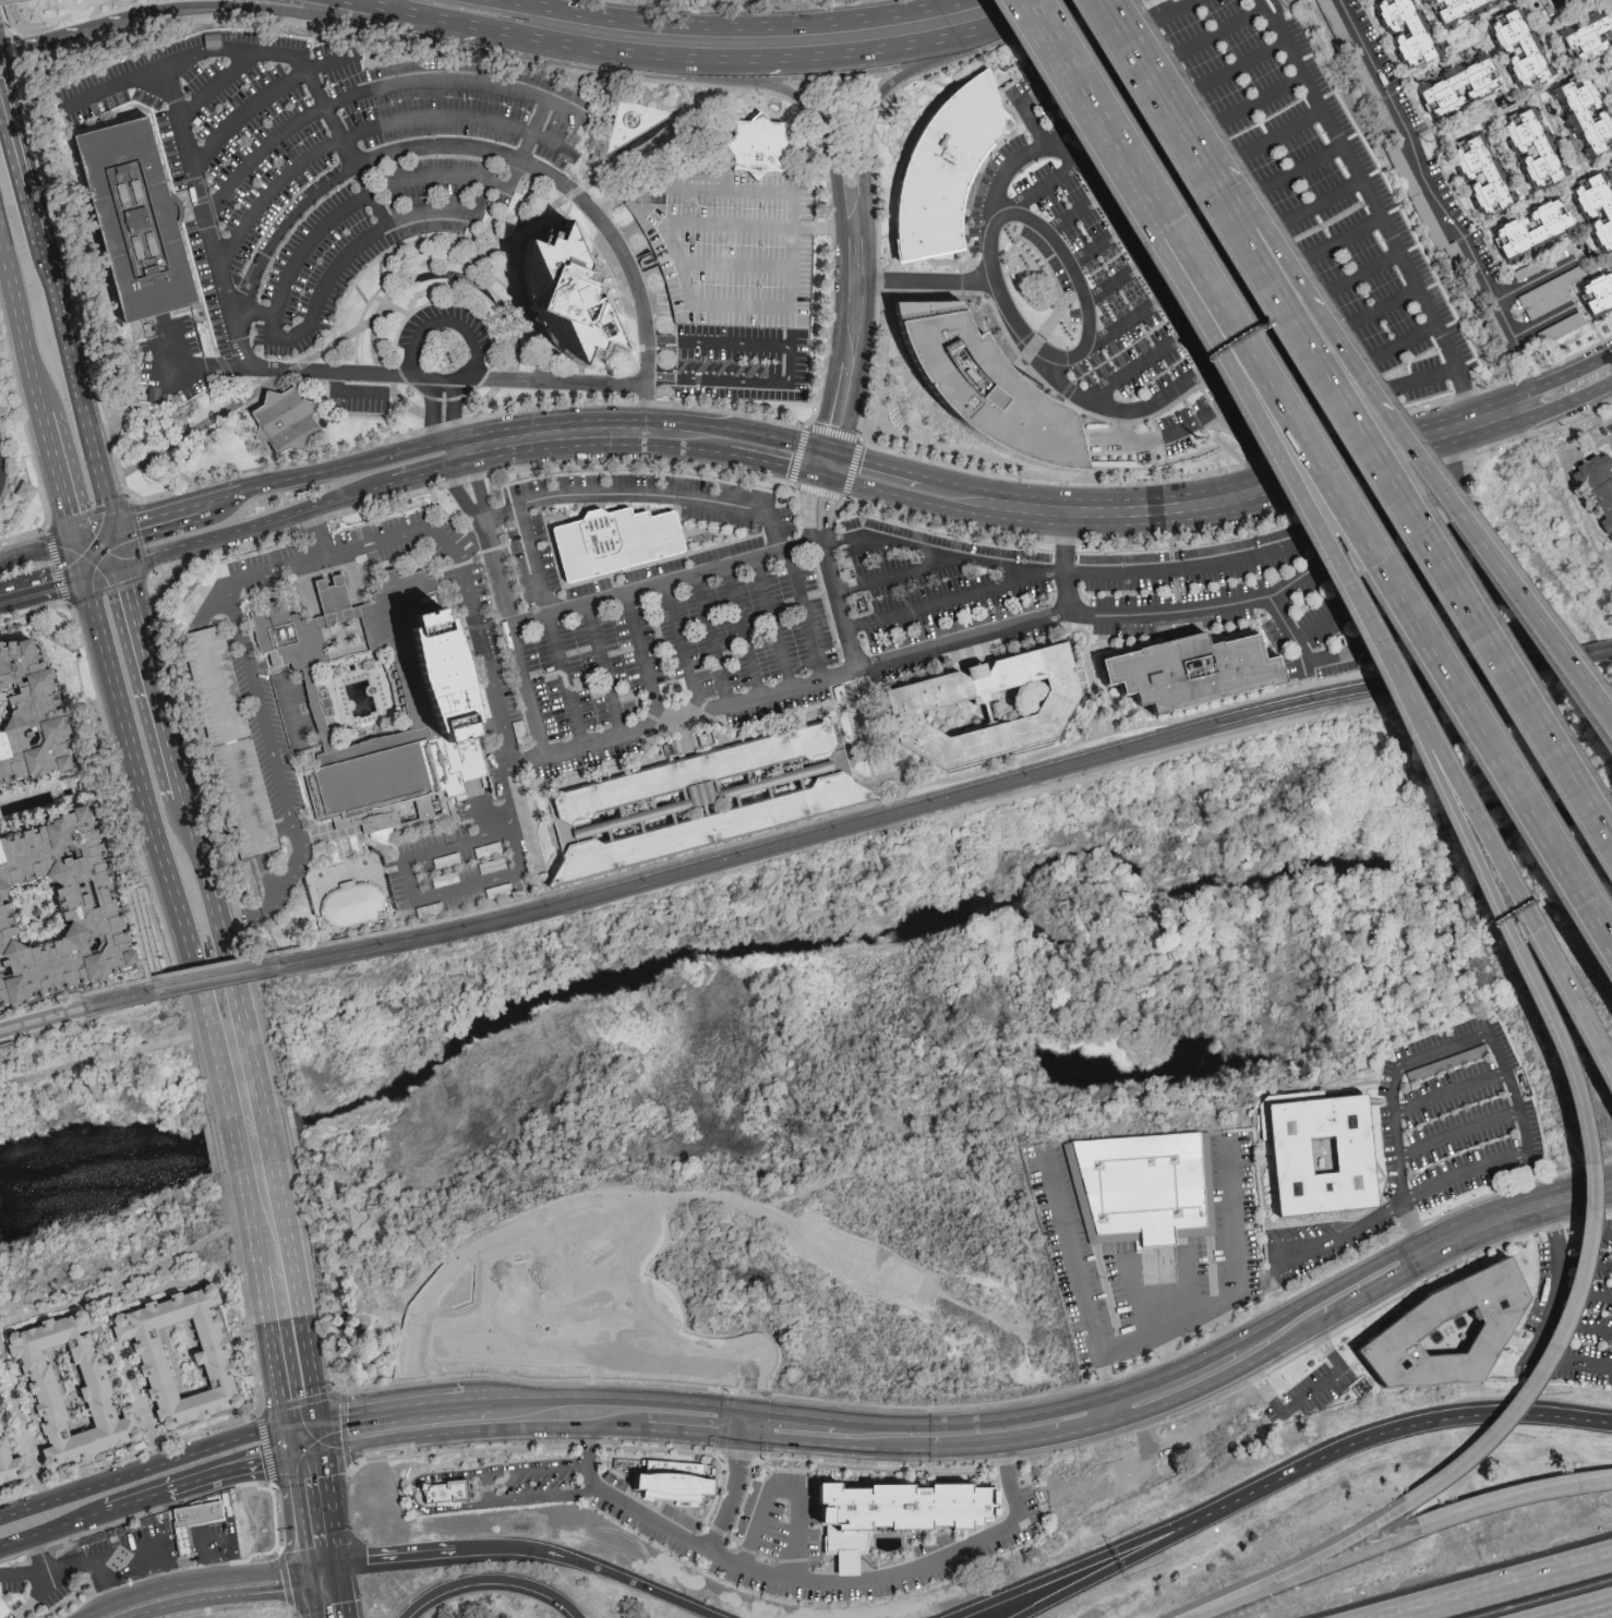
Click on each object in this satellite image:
road: (1007, 7)
road: (515, 8)
building: (1457, 8)
road: (384, 10)
road: (1178, 12)
road: (281, 13)
building: (1409, 29)
road: (485, 31)
road: (589, 32)
road: (1222, 35)
building: (1591, 39)
road: (64, 40)
road: (814, 41)
building: (1524, 48)
road: (272, 51)
road: (1143, 57)
road: (1242, 69)
road: (219, 79)
road: (384, 86)
road: (171, 88)
building: (1460, 92)
road: (1094, 93)
road: (795, 95)
road: (265, 97)
road: (1026, 98)
road: (873, 101)
road: (1262, 101)
building: (1583, 116)
road: (381, 124)
road: (184, 133)
road: (11, 135)
road: (1283, 135)
road: (527, 143)
road: (1200, 143)
building: (751, 144)
building: (1538, 144)
road: (471, 148)
road: (1302, 167)
building: (1487, 172)
building: (947, 173)
road: (1050, 185)
road: (480, 198)
road: (624, 198)
road: (360, 201)
building: (1600, 202)
road: (1324, 204)
road: (688, 205)
road: (1442, 207)
road: (1379, 214)
road: (1078, 215)
road: (34, 224)
road: (209, 224)
building: (149, 225)
building: (1533, 231)
road: (1345, 242)
road: (1098, 245)
road: (348, 250)
road: (1066, 251)
building: (1540, 265)
road: (734, 266)
road: (1366, 275)
road: (1536, 279)
road: (926, 281)
road: (1117, 281)
building: (1549, 288)
road: (1306, 291)
building: (561, 293)
building: (1598, 295)
building: (1550, 302)
road: (759, 306)
road: (246, 307)
road: (1383, 307)
road: (445, 315)
road: (23, 319)
road: (1547, 322)
building: (1565, 324)
road: (1106, 334)
road: (1405, 339)
road: (852, 361)
road: (792, 365)
road: (279, 369)
road: (1139, 369)
road: (1428, 377)
building: (984, 379)
road: (558, 384)
road: (1610, 390)
road: (80, 400)
road: (1131, 408)
road: (454, 413)
road: (433, 416)
building: (277, 419)
road: (1239, 422)
road: (536, 424)
road: (596, 445)
road: (457, 451)
traffic signals: (833, 452)
road: (878, 464)
road: (779, 466)
road: (425, 473)
road: (1275, 474)
traffic signals: (827, 478)
road: (1393, 478)
road: (62, 479)
road: (1304, 485)
road: (480, 487)
building: (1596, 488)
building: (17, 491)
road: (461, 493)
road: (221, 503)
road: (732, 504)
road: (1227, 517)
road: (157, 521)
road: (257, 527)
traffic signals: (115, 533)
road: (321, 535)
road: (96, 539)
building: (613, 540)
traffic signals: (79, 544)
road: (118, 550)
road: (39, 554)
road: (82, 559)
road: (1384, 559)
traffic signals: (122, 566)
road: (1501, 566)
road: (1064, 569)
road: (104, 570)
road: (497, 571)
road: (901, 573)
road: (1147, 573)
traffic signals: (86, 575)
road: (832, 575)
road: (43, 584)
road: (335, 596)
road: (938, 599)
road: (1225, 604)
road: (807, 617)
road: (515, 626)
road: (773, 626)
road: (1320, 626)
road: (744, 633)
fountain: (344, 635)
road: (713, 641)
road: (964, 642)
road: (681, 651)
road: (1303, 656)
road: (640, 662)
building: (1179, 671)
road: (250, 672)
road: (604, 672)
road: (1309, 675)
road: (152, 680)
road: (565, 683)
road: (530, 692)
building: (433, 696)
building: (910, 707)
road: (220, 710)
building: (20, 717)
road: (233, 752)
road: (561, 753)
railway: (982, 785)
building: (701, 798)
road: (885, 799)
road: (145, 801)
railway: (942, 806)
road: (444, 889)
building: (350, 903)
road: (213, 906)
building: (48, 911)
road: (1530, 935)
river: (795, 938)
railway: (315, 956)
road: (214, 965)
road: (156, 968)
road: (161, 975)
railway: (214, 975)
railway: (216, 985)
road: (111, 988)
railway: (79, 995)
road: (183, 999)
railway: (75, 1004)
road: (77, 1009)
road: (115, 1011)
railway: (76, 1013)
railway: (85, 1021)
road: (203, 1029)
road: (249, 1034)
road: (218, 1042)
road: (1439, 1049)
road: (96, 1060)
road: (1449, 1088)
road: (265, 1109)
road: (234, 1115)
road: (1459, 1130)
road: (209, 1132)
building: (1313, 1152)
road: (1584, 1169)
building: (1140, 1185)
road: (1402, 1207)
road: (1514, 1210)
road: (284, 1219)
road: (252, 1220)
road: (1411, 1229)
road: (1584, 1234)
road: (1586, 1263)
road: (1074, 1269)
road: (144, 1272)
road: (1191, 1279)
road: (1559, 1281)
road: (1380, 1288)
road: (1242, 1289)
road: (1324, 1290)
road: (1585, 1293)
road: (1152, 1311)
road: (1579, 1324)
road: (1222, 1325)
building: (1439, 1326)
road: (274, 1345)
road: (306, 1345)
building: (170, 1353)
road: (1571, 1362)
road: (1171, 1372)
road: (1225, 1373)
building: (61, 1388)
road: (1308, 1393)
road: (622, 1397)
road: (467, 1398)
road: (1112, 1406)
road: (376, 1408)
road: (770, 1411)
road: (818, 1416)
traffic signals: (320, 1418)
road: (303, 1421)
road: (975, 1421)
road: (742, 1422)
traffic signals: (288, 1424)
road: (1409, 1424)
road: (24, 1427)
road: (476, 1429)
road: (673, 1430)
road: (322, 1434)
road: (729, 1436)
road: (290, 1440)
road: (1026, 1440)
road: (837, 1444)
traffic signals: (325, 1450)
road: (309, 1453)
traffic signals: (292, 1457)
building: (8, 1466)
road: (144, 1471)
road: (230, 1472)
building: (663, 1478)
road: (488, 1488)
road: (786, 1489)
building: (441, 1490)
road: (731, 1496)
road: (1513, 1496)
road: (410, 1497)
road: (139, 1501)
building: (892, 1502)
road: (332, 1504)
road: (299, 1512)
building: (188, 1520)
road: (53, 1530)
road: (395, 1551)
traffic signals: (338, 1557)
road: (1084, 1561)
road: (322, 1562)
road: (1118, 1562)
road: (590, 1563)
road: (79, 1566)
road: (1294, 1566)
road: (152, 1568)
traffic signals: (306, 1568)
road: (339, 1569)
road: (1303, 1573)
road: (23, 1574)
road: (308, 1577)
road: (490, 1578)
road: (284, 1579)
road: (106, 1581)
road: (189, 1582)
traffic signals: (340, 1582)
road: (325, 1584)
road: (810, 1584)
road: (1493, 1585)
traffic signals: (310, 1586)
road: (215, 1596)
road: (342, 1599)
road: (312, 1602)
building: (4, 1608)
road: (1590, 1611)
road: (287, 1613)

